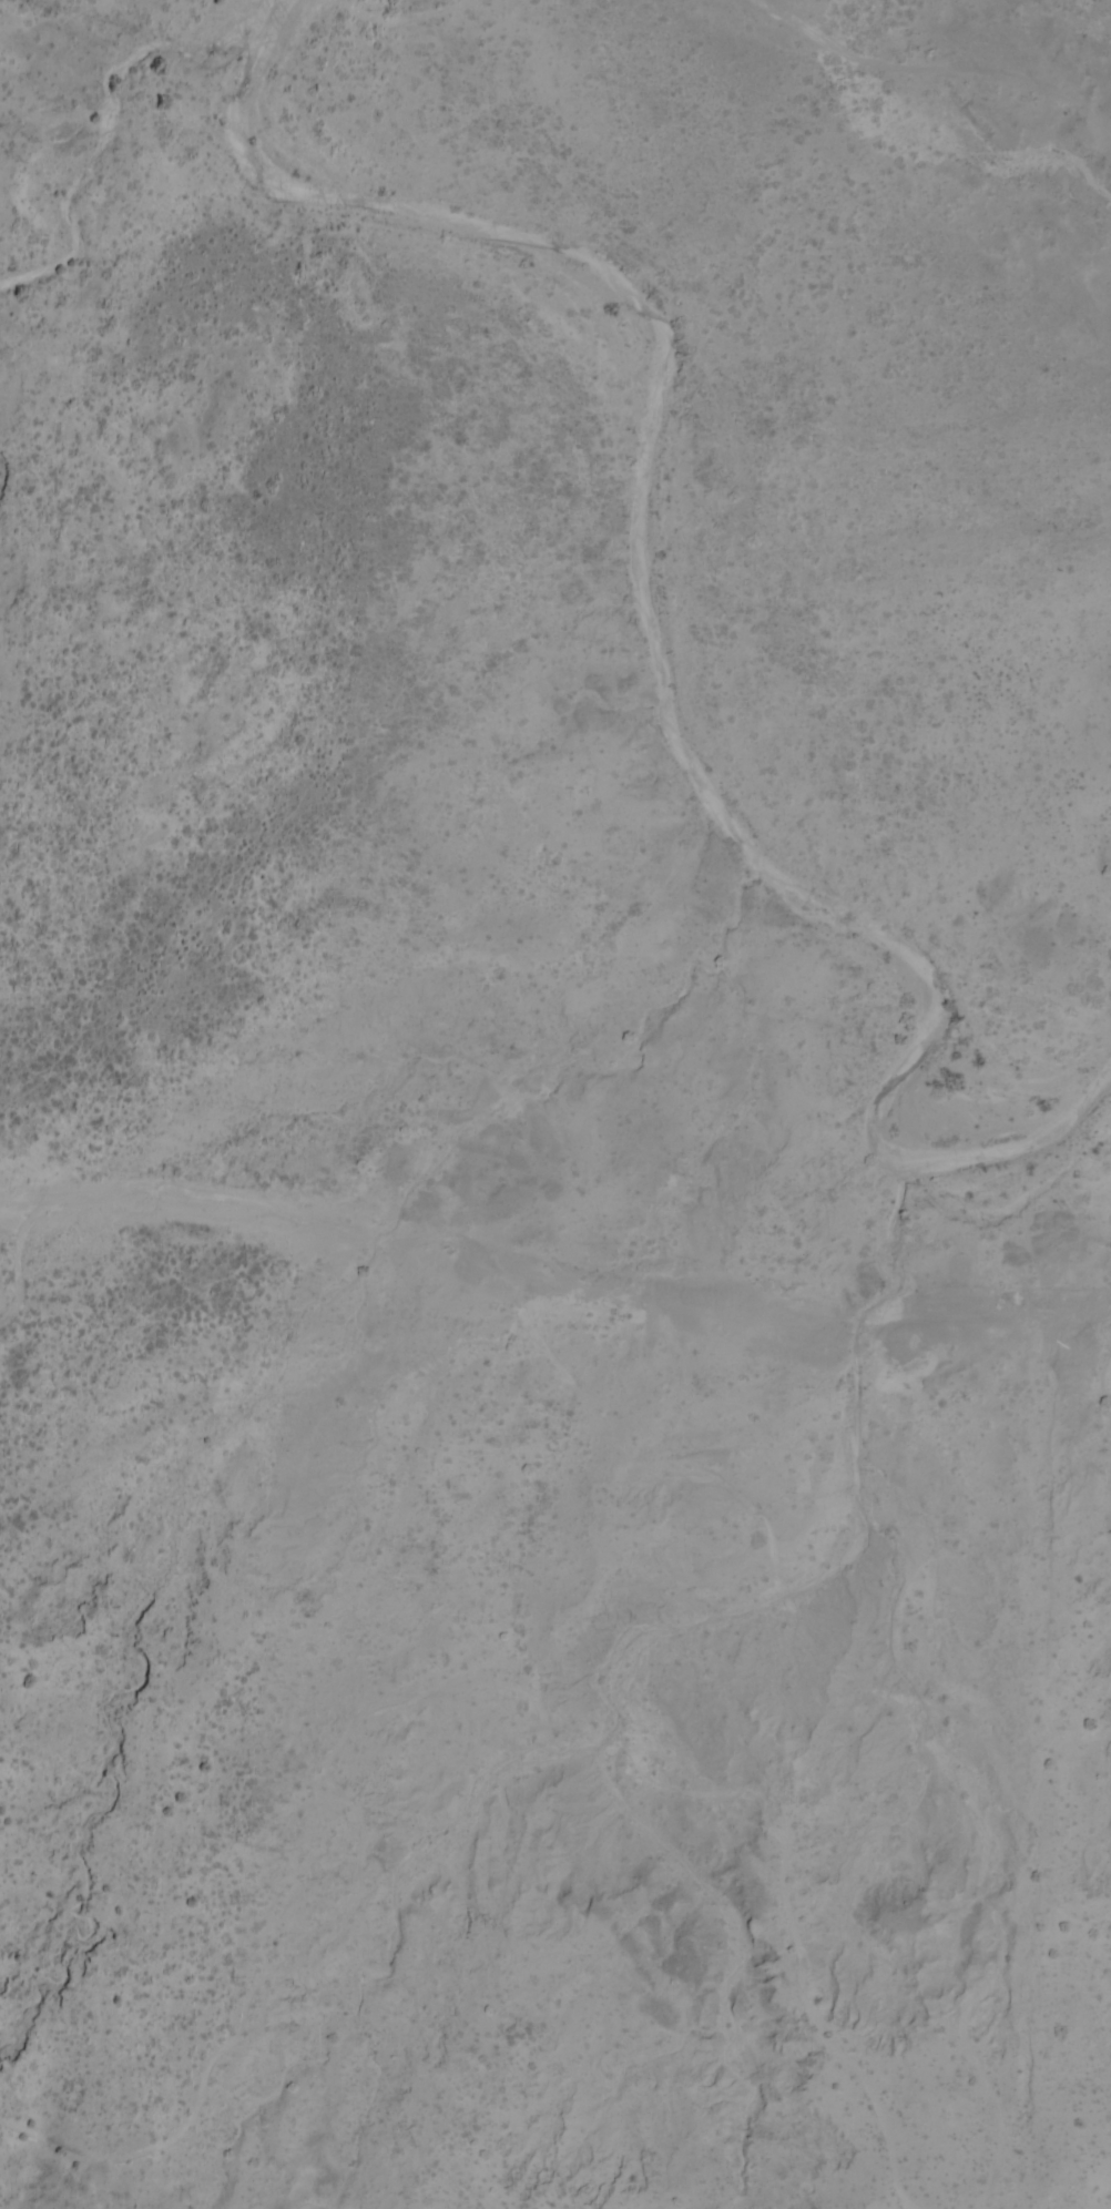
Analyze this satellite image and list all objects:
road: (917, 73)

